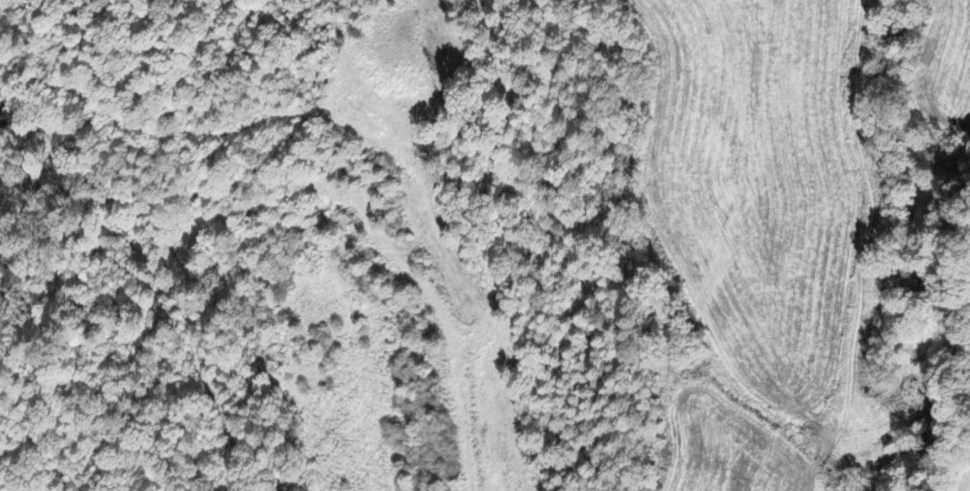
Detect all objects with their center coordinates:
road: (864, 249)

